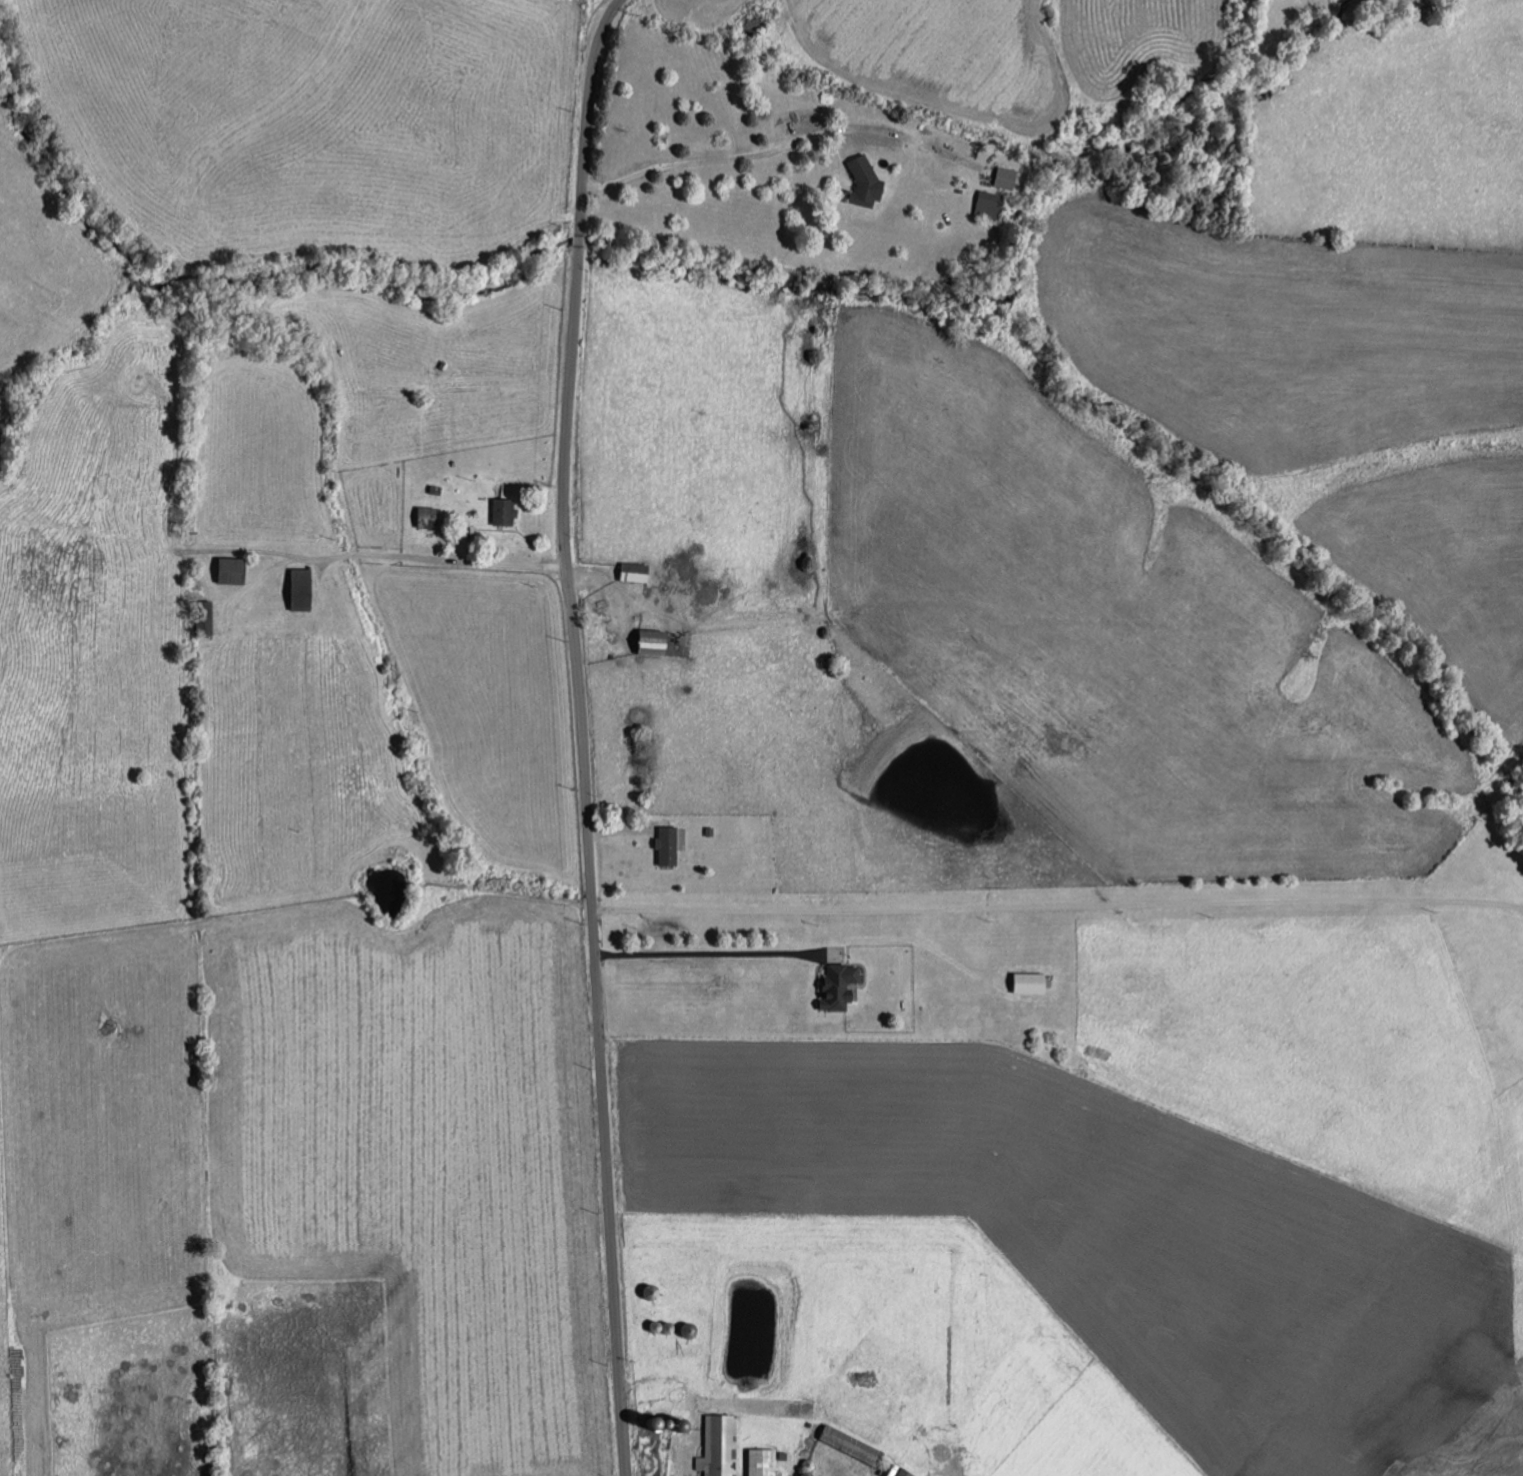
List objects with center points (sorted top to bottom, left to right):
road: (747, 156)
building: (1005, 178)
building: (868, 183)
building: (990, 206)
building: (507, 512)
building: (428, 515)
building: (177, 524)
road: (353, 554)
building: (235, 572)
building: (638, 573)
building: (304, 590)
building: (658, 647)
road: (583, 734)
building: (668, 847)
road: (1058, 907)
road: (710, 955)
building: (1033, 984)
building: (842, 987)
building: (855, 1445)
building: (721, 1446)
building: (765, 1462)
building: (903, 1471)

